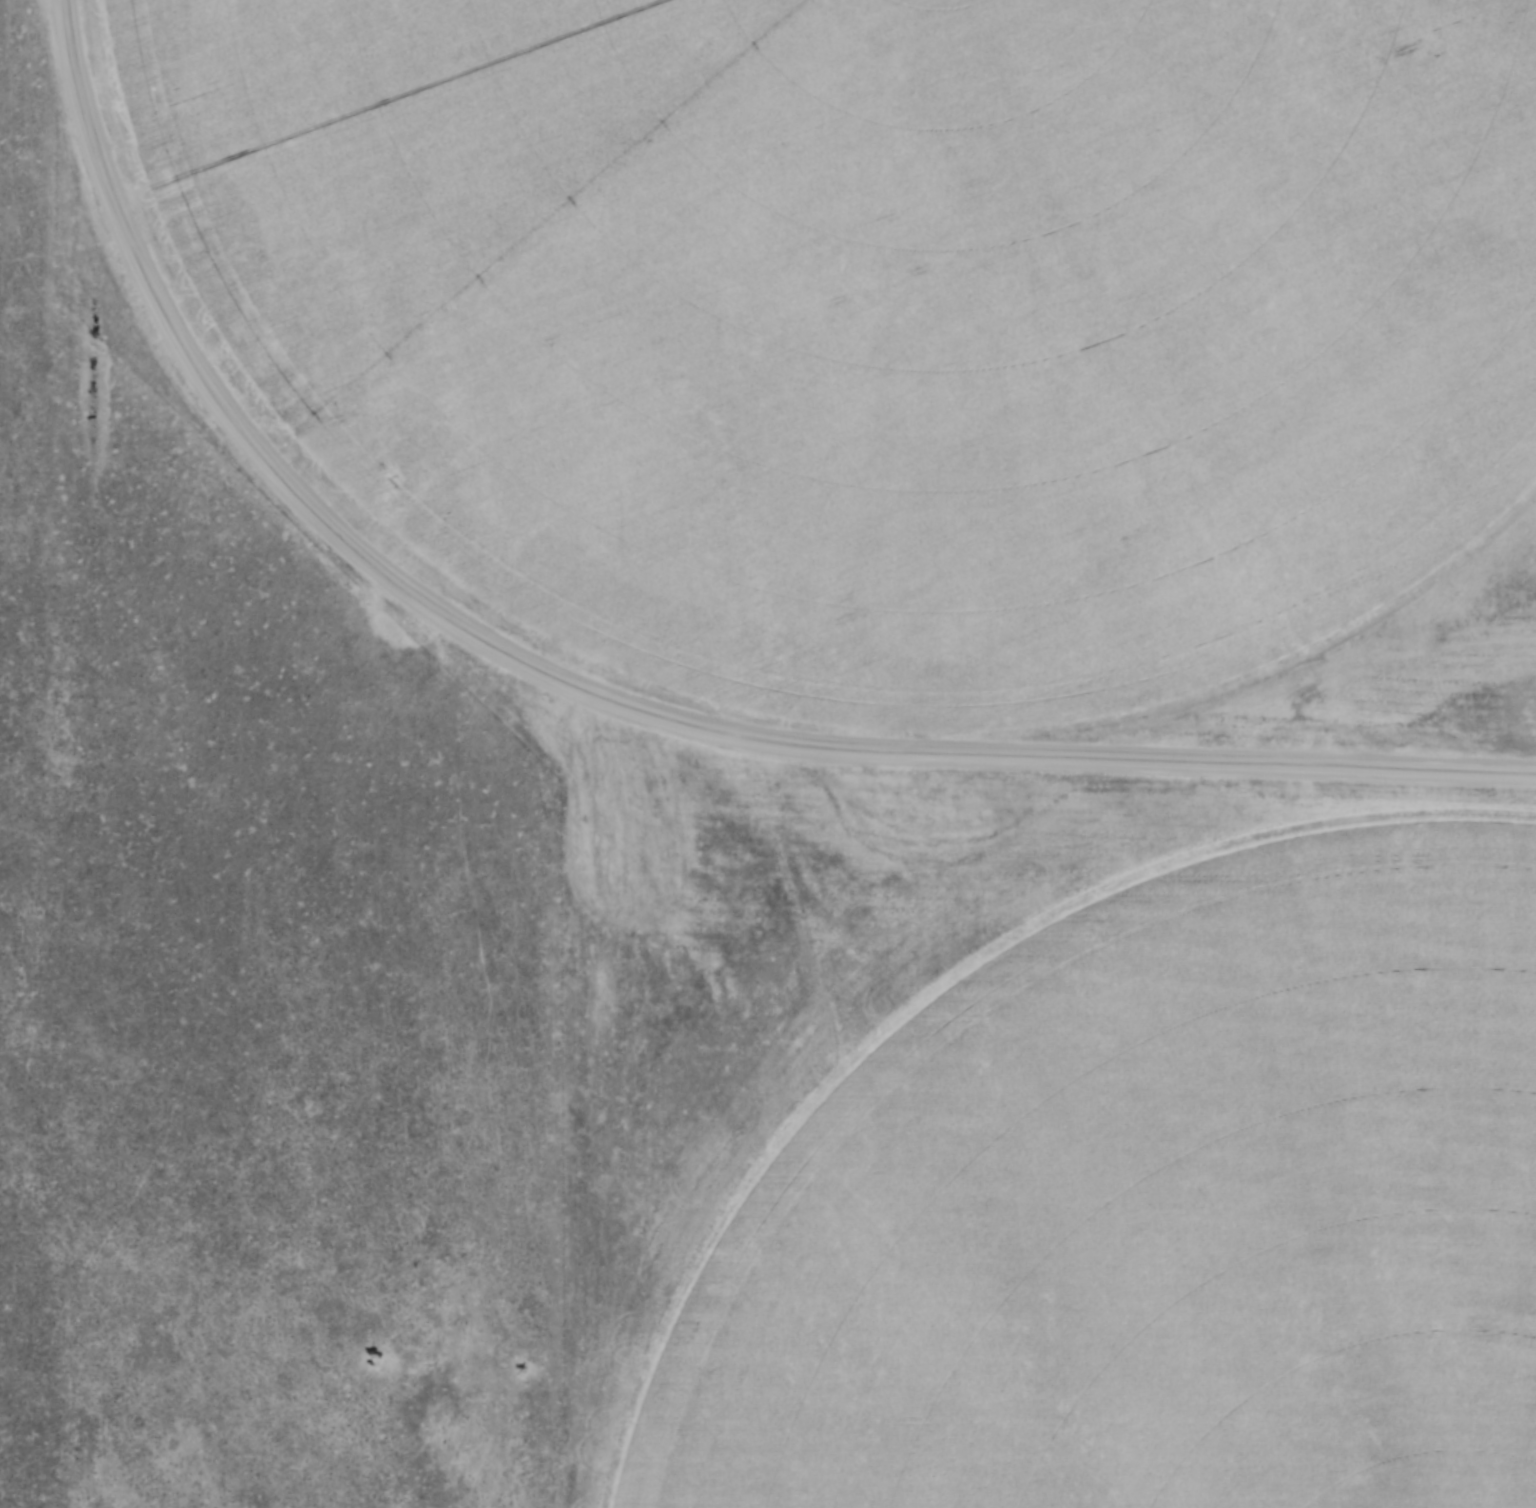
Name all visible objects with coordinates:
crop: (865, 328)
crop: (1153, 1153)

